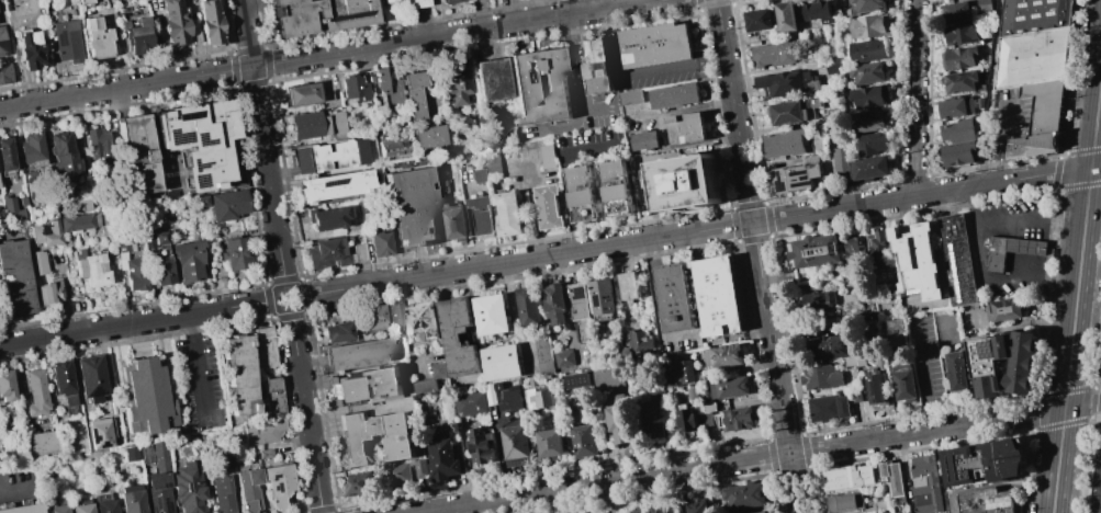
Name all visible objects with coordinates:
building: (386, 0)
building: (85, 1)
building: (448, 1)
building: (417, 3)
building: (867, 5)
building: (817, 10)
building: (957, 12)
building: (318, 14)
building: (786, 15)
rooftop solar panel: (348, 16)
building: (209, 22)
building: (760, 22)
building: (176, 23)
building: (870, 26)
building: (962, 34)
building: (135, 36)
building: (97, 38)
building: (67, 41)
building: (2, 42)
building: (655, 44)
building: (30, 49)
building: (869, 50)
road: (328, 54)
building: (774, 54)
building: (959, 57)
building: (1032, 57)
building: (596, 66)
building: (832, 66)
road: (576, 69)
road: (638, 72)
building: (866, 72)
building: (4, 73)
building: (491, 79)
building: (962, 81)
building: (786, 82)
building: (454, 86)
building: (352, 87)
building: (539, 87)
building: (384, 89)
building: (413, 93)
building: (303, 94)
building: (674, 95)
building: (630, 96)
building: (867, 96)
road: (915, 98)
building: (1044, 105)
road: (688, 107)
building: (956, 107)
building: (793, 111)
building: (868, 121)
building: (316, 123)
building: (686, 127)
building: (958, 130)
building: (427, 135)
building: (199, 140)
building: (644, 140)
building: (97, 144)
road: (262, 144)
building: (786, 144)
building: (1032, 145)
building: (392, 146)
building: (30, 150)
building: (959, 152)
building: (135, 153)
building: (5, 155)
building: (61, 155)
building: (328, 156)
building: (547, 156)
building: (870, 156)
building: (840, 159)
building: (493, 163)
road: (563, 172)
building: (480, 175)
building: (794, 176)
building: (685, 182)
rooftop solar panel: (328, 184)
building: (335, 185)
building: (616, 187)
building: (582, 193)
road: (1093, 200)
building: (81, 205)
building: (226, 205)
building: (549, 206)
building: (412, 207)
building: (10, 209)
building: (508, 213)
building: (481, 216)
building: (328, 218)
road: (1030, 220)
building: (78, 221)
building: (456, 223)
road: (699, 231)
building: (44, 233)
building: (151, 237)
building: (379, 240)
building: (884, 250)
building: (1011, 250)
building: (334, 252)
building: (813, 253)
building: (235, 254)
road: (757, 256)
building: (854, 258)
building: (958, 260)
building: (187, 261)
building: (37, 262)
building: (919, 266)
building: (91, 267)
building: (162, 270)
building: (136, 274)
building: (14, 278)
road: (984, 281)
building: (630, 286)
building: (48, 292)
road: (296, 292)
road: (1077, 292)
rooftop solar panel: (580, 293)
building: (675, 297)
building: (719, 297)
building: (604, 299)
building: (814, 300)
rooftop solar panel: (599, 301)
building: (557, 304)
building: (530, 306)
road: (656, 309)
building: (1005, 310)
building: (582, 312)
building: (395, 315)
building: (493, 315)
building: (372, 317)
building: (423, 321)
road: (137, 322)
building: (337, 332)
building: (897, 333)
building: (459, 337)
building: (640, 341)
building: (263, 347)
building: (824, 350)
rooftop solar panel: (991, 353)
building: (360, 354)
building: (546, 355)
building: (726, 355)
building: (565, 357)
road: (196, 361)
building: (854, 361)
building: (1007, 361)
building: (503, 362)
building: (438, 369)
building: (685, 372)
building: (958, 373)
building: (236, 374)
building: (608, 376)
road: (925, 376)
building: (90, 377)
building: (823, 378)
building: (577, 380)
building: (61, 383)
building: (906, 384)
parking lot: (195, 385)
building: (5, 386)
building: (367, 386)
building: (425, 386)
building: (732, 387)
rooftop solar panel: (872, 387)
building: (877, 390)
building: (36, 392)
building: (856, 395)
building: (145, 396)
building: (271, 397)
building: (541, 398)
building: (513, 399)
building: (472, 404)
building: (830, 409)
road: (305, 411)
building: (655, 413)
building: (687, 418)
building: (739, 419)
building: (619, 424)
building: (260, 432)
building: (98, 433)
building: (374, 437)
building: (585, 441)
building: (41, 443)
building: (551, 444)
building: (516, 445)
building: (482, 446)
building: (131, 454)
building: (157, 454)
road: (763, 457)
building: (445, 458)
building: (985, 461)
building: (420, 467)
building: (401, 475)
parking lot: (1097, 476)
building: (849, 477)
building: (892, 478)
parking lot: (19, 483)
building: (361, 483)
building: (924, 483)
building: (278, 485)
rooftop solar panel: (165, 486)
road: (15, 488)
building: (189, 488)
building: (248, 490)
building: (158, 492)
building: (221, 494)
building: (744, 495)
building: (131, 499)
building: (986, 500)
building: (844, 502)
building: (57, 505)
building: (104, 506)
building: (698, 506)
building: (80, 508)
building: (22, 509)
rooftop solar panel: (168, 509)
building: (665, 510)
building: (643, 512)
building: (761, 512)

